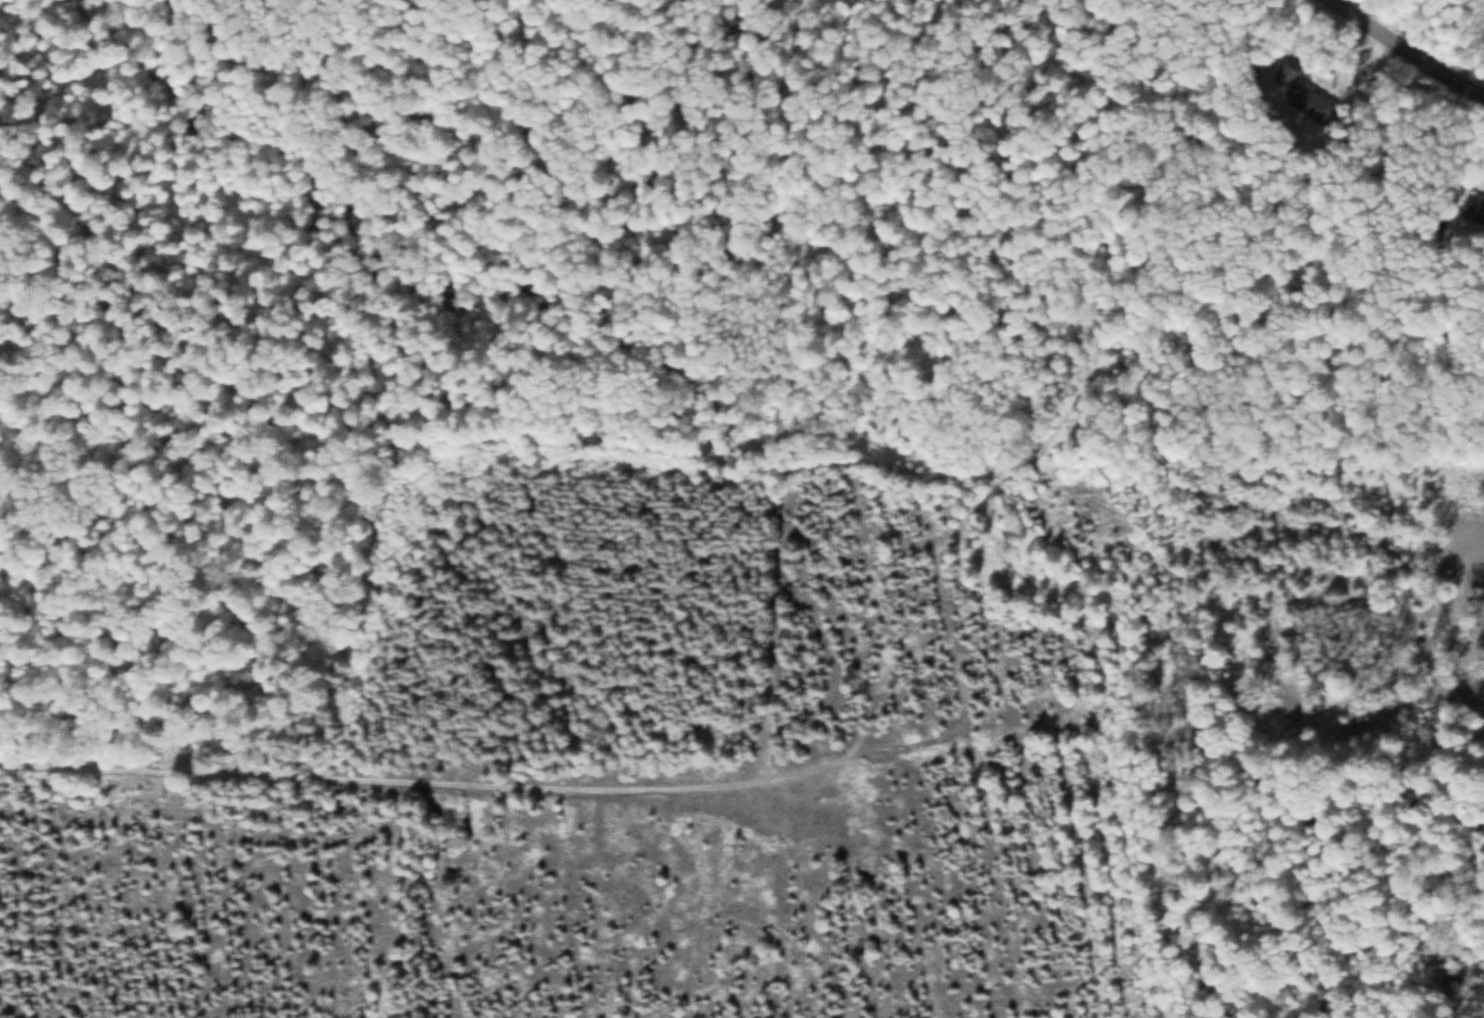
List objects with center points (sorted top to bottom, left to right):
road: (1409, 49)
building: (1479, 209)

